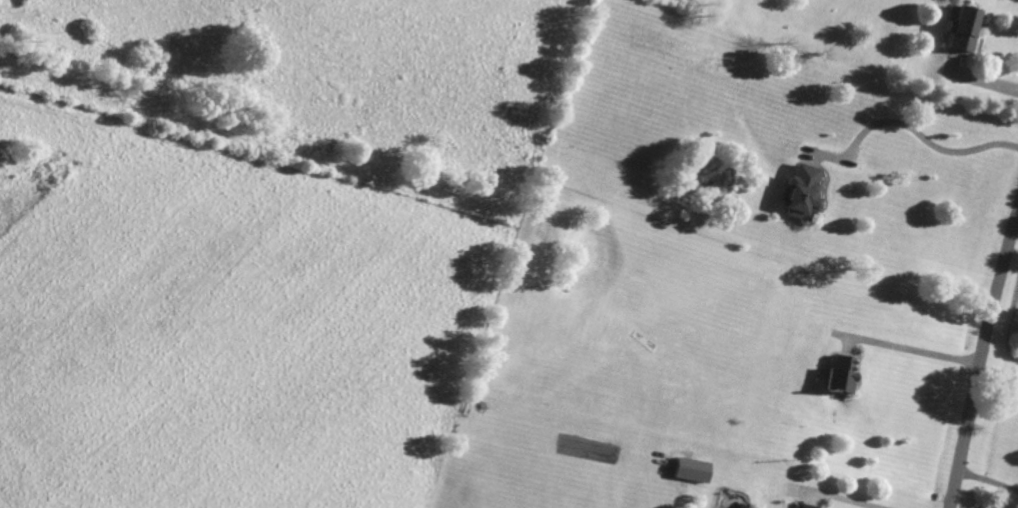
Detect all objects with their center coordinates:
building: (962, 28)
road: (989, 81)
road: (910, 130)
building: (801, 194)
road: (913, 349)
road: (979, 363)
building: (838, 375)
building: (692, 470)
road: (987, 482)
road: (840, 499)
building: (802, 506)

